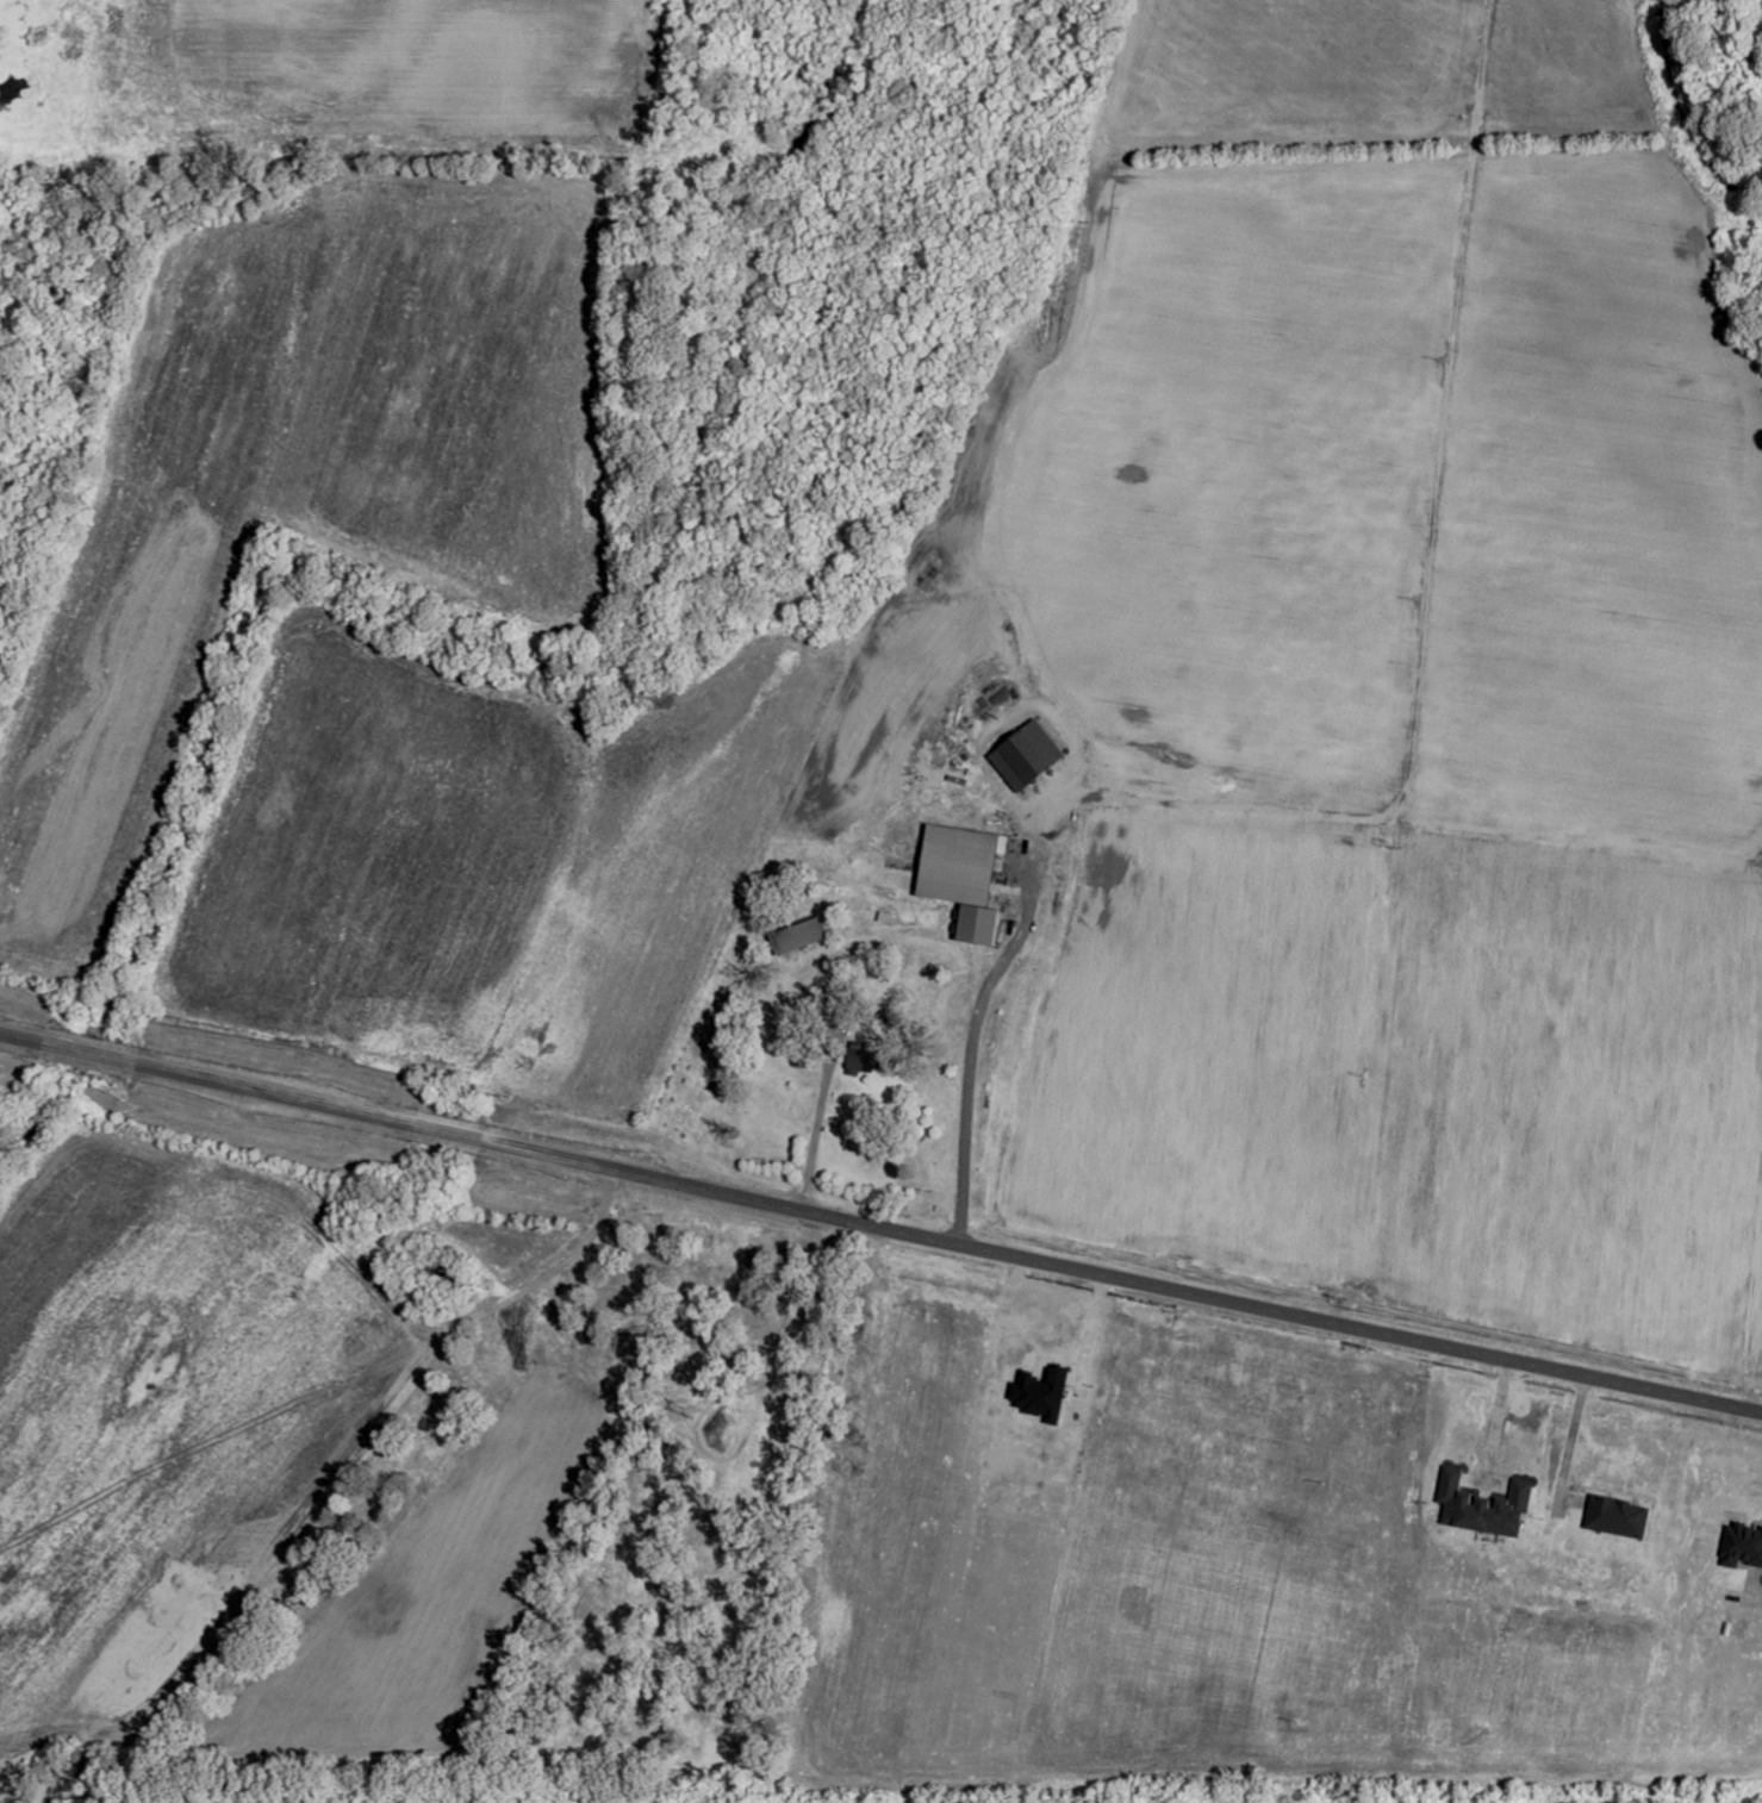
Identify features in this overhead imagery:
road: (1421, 593)
building: (1028, 756)
building: (965, 878)
road: (972, 1002)
building: (864, 1060)
road: (809, 1135)
road: (879, 1228)

